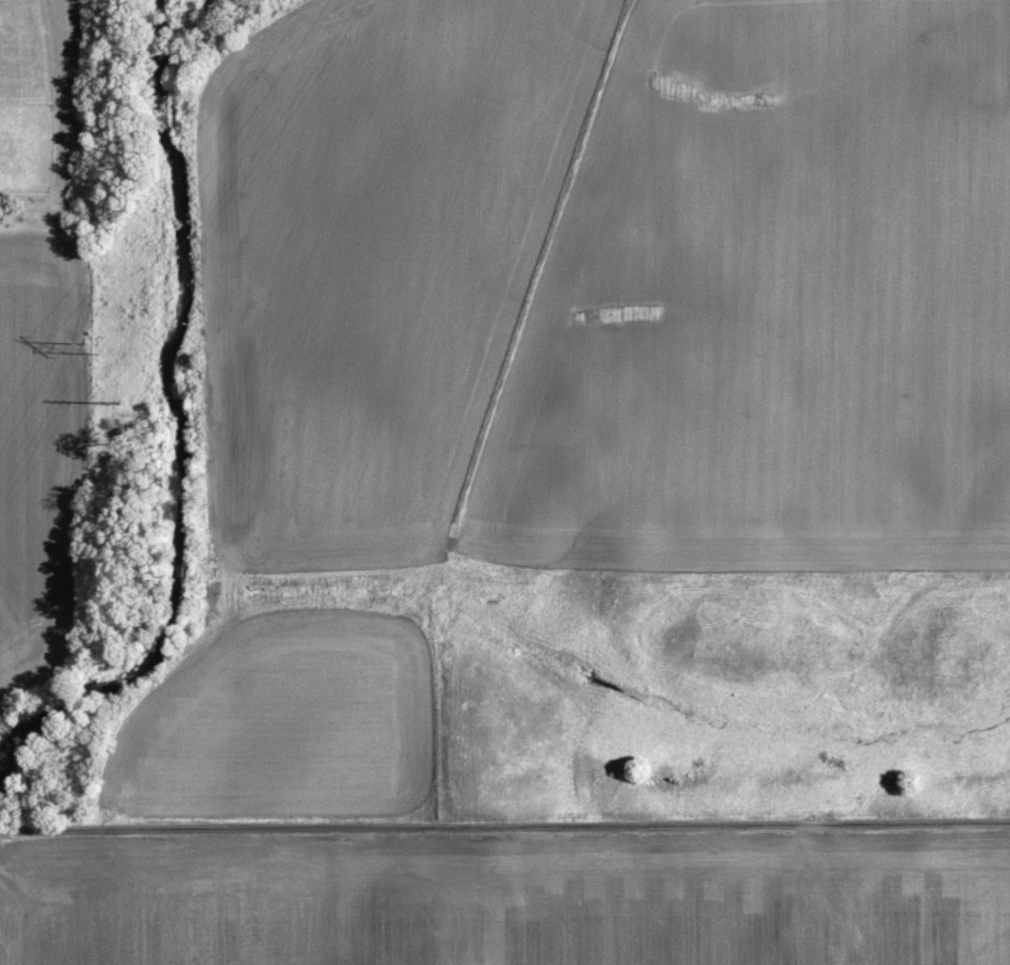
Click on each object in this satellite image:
power tower: (87, 344)
road: (505, 825)

